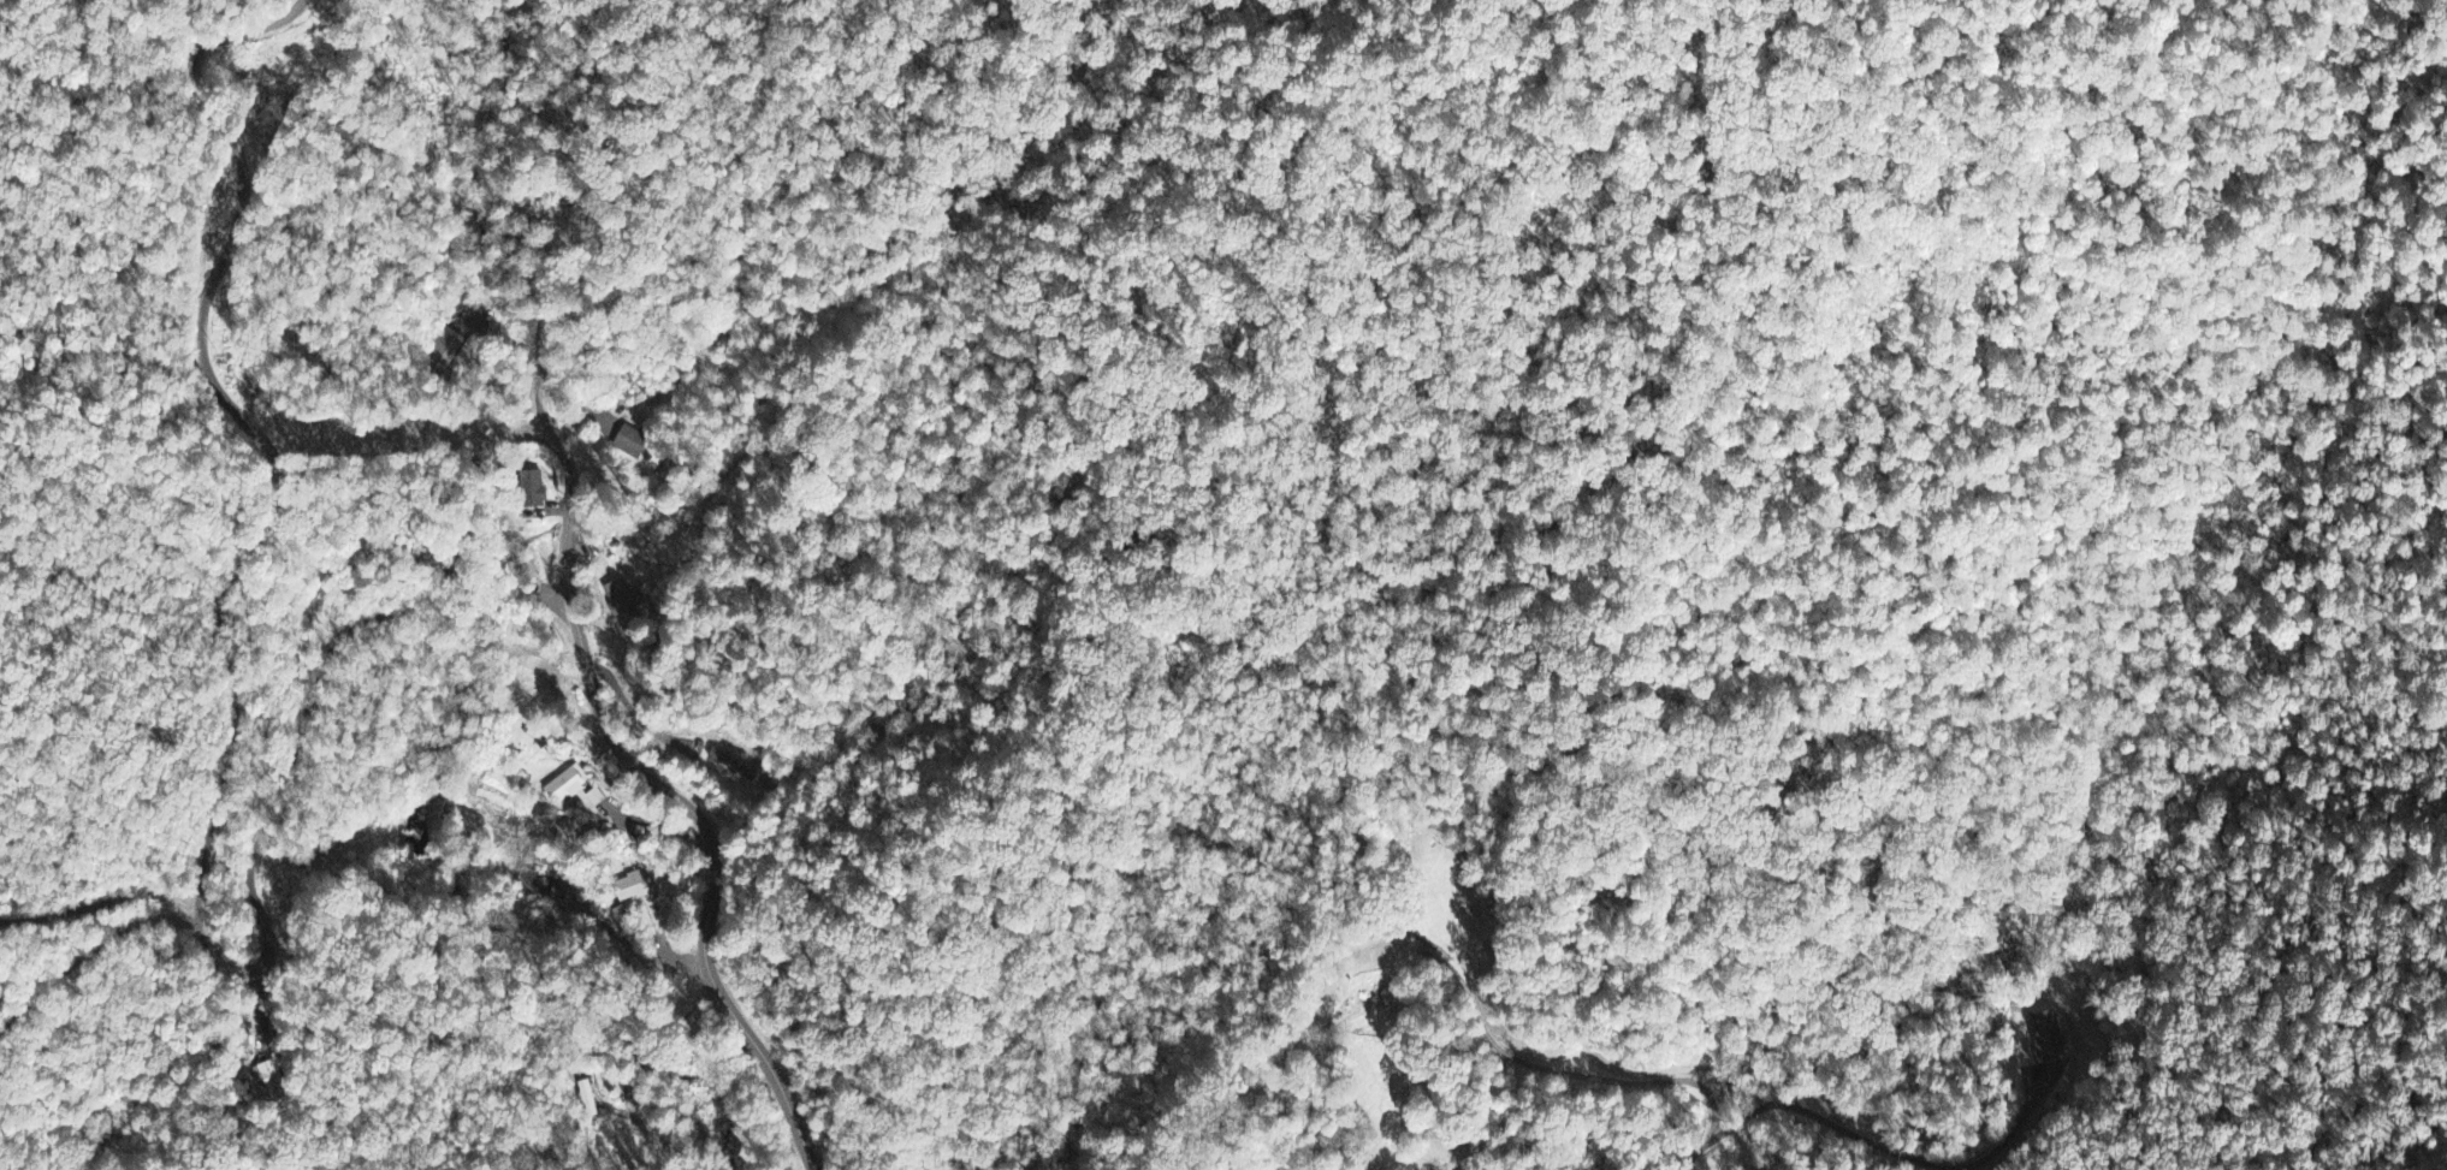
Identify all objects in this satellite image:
building: (448, 346)
building: (635, 445)
building: (537, 487)
building: (623, 598)
building: (556, 676)
road: (227, 752)
building: (740, 765)
building: (569, 780)
road: (658, 783)
road: (659, 824)
building: (535, 881)
building: (634, 884)
road: (99, 903)
road: (636, 945)
road: (89, 954)
building: (2046, 1035)
building: (249, 1052)

